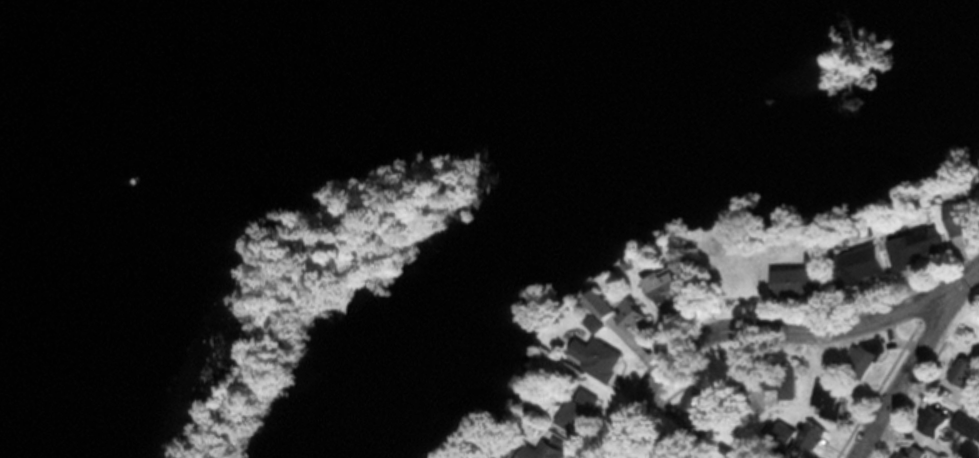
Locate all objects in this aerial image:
river: (321, 153)
building: (963, 214)
building: (915, 247)
building: (861, 264)
building: (800, 279)
building: (667, 283)
building: (603, 304)
building: (636, 314)
building: (598, 324)
road: (767, 329)
building: (600, 357)
building: (866, 358)
road: (914, 369)
building: (966, 376)
building: (772, 381)
road: (883, 381)
road: (917, 396)
building: (829, 398)
building: (701, 402)
building: (972, 405)
building: (579, 409)
building: (934, 421)
building: (967, 426)
building: (784, 433)
building: (812, 434)
building: (675, 439)
building: (542, 450)
building: (912, 452)

